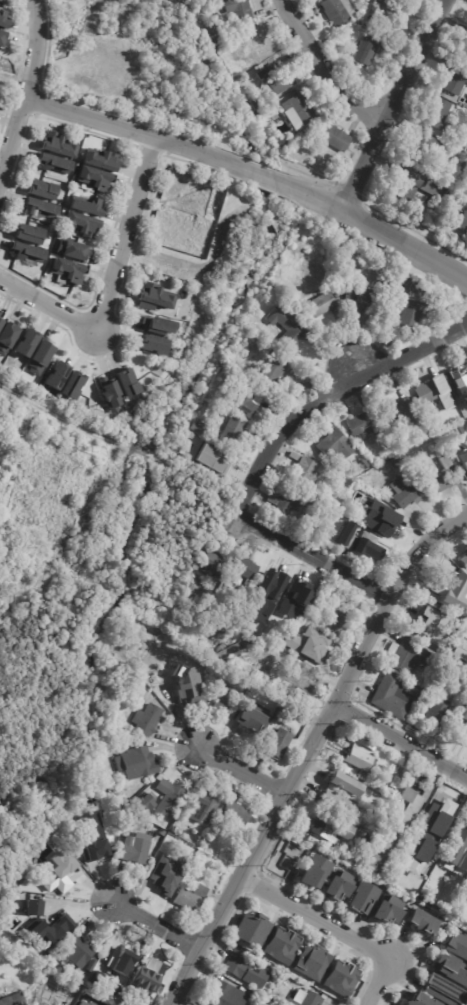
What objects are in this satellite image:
building: (237, 9)
building: (337, 11)
building: (383, 14)
building: (3, 21)
building: (3, 39)
building: (215, 41)
building: (405, 41)
building: (257, 43)
building: (462, 43)
building: (367, 50)
building: (218, 51)
road: (16, 67)
road: (324, 70)
building: (264, 73)
building: (455, 77)
building: (279, 83)
road: (27, 92)
building: (261, 102)
road: (393, 106)
building: (297, 111)
building: (436, 113)
building: (265, 114)
road: (133, 131)
building: (333, 138)
building: (57, 144)
building: (423, 146)
building: (454, 152)
building: (101, 159)
building: (54, 162)
building: (346, 163)
building: (463, 166)
road: (258, 173)
building: (95, 177)
building: (447, 178)
building: (405, 184)
building: (430, 186)
building: (42, 189)
building: (448, 192)
road: (309, 194)
building: (86, 205)
building: (39, 207)
building: (462, 221)
building: (81, 224)
building: (27, 233)
road: (404, 246)
building: (72, 249)
building: (27, 251)
building: (66, 270)
building: (44, 279)
building: (400, 286)
road: (110, 289)
building: (348, 291)
building: (154, 297)
building: (364, 300)
building: (295, 304)
building: (320, 304)
building: (0, 312)
building: (410, 313)
building: (2, 318)
building: (0, 322)
building: (160, 326)
building: (286, 329)
building: (7, 334)
building: (24, 341)
building: (151, 343)
building: (39, 356)
road: (360, 370)
building: (272, 372)
building: (458, 374)
building: (54, 375)
building: (126, 382)
building: (72, 385)
building: (429, 390)
building: (109, 394)
road: (329, 395)
building: (247, 399)
building: (397, 410)
building: (362, 422)
building: (196, 426)
building: (229, 432)
building: (394, 436)
building: (335, 444)
building: (389, 458)
building: (463, 459)
building: (212, 460)
building: (396, 461)
building: (364, 464)
building: (465, 467)
building: (303, 471)
building: (367, 477)
building: (441, 481)
building: (354, 487)
building: (407, 491)
building: (364, 492)
building: (284, 500)
building: (325, 500)
building: (331, 504)
building: (315, 507)
building: (377, 514)
building: (344, 534)
building: (366, 545)
building: (464, 554)
road: (311, 555)
building: (212, 561)
building: (243, 568)
building: (272, 579)
building: (246, 583)
building: (454, 585)
building: (299, 591)
building: (334, 623)
building: (427, 625)
building: (218, 627)
building: (296, 632)
building: (181, 641)
building: (285, 643)
building: (189, 646)
building: (461, 646)
building: (320, 648)
building: (403, 656)
building: (286, 659)
building: (451, 668)
building: (305, 676)
building: (421, 679)
building: (414, 690)
building: (392, 696)
building: (182, 698)
building: (223, 698)
building: (434, 714)
building: (276, 718)
building: (146, 720)
building: (461, 722)
building: (246, 724)
road: (401, 741)
building: (124, 743)
building: (273, 743)
road: (308, 750)
building: (358, 760)
building: (136, 763)
road: (242, 771)
building: (394, 782)
building: (343, 785)
building: (119, 794)
building: (171, 799)
building: (146, 800)
building: (124, 801)
building: (333, 802)
building: (137, 805)
building: (201, 809)
building: (234, 815)
building: (443, 817)
building: (115, 818)
building: (329, 828)
building: (429, 828)
building: (298, 829)
building: (174, 830)
building: (391, 830)
building: (116, 833)
building: (162, 833)
building: (177, 833)
building: (356, 836)
building: (426, 836)
building: (169, 837)
building: (435, 838)
building: (191, 841)
building: (135, 848)
building: (93, 849)
building: (190, 849)
building: (58, 854)
building: (418, 856)
building: (39, 861)
building: (456, 861)
building: (199, 863)
building: (167, 871)
building: (313, 872)
building: (60, 876)
building: (337, 885)
building: (361, 898)
building: (189, 899)
building: (32, 907)
building: (387, 909)
building: (59, 916)
road: (314, 917)
building: (420, 921)
road: (155, 925)
building: (47, 930)
building: (251, 930)
building: (282, 946)
building: (456, 946)
building: (77, 952)
building: (311, 963)
building: (118, 965)
building: (236, 965)
building: (449, 969)
building: (148, 970)
building: (340, 978)
road: (376, 981)
building: (141, 986)
building: (443, 990)
building: (226, 995)
building: (123, 996)
building: (107, 997)
building: (310, 999)
building: (12, 1000)
building: (419, 1000)
building: (52, 1001)
building: (262, 1001)
building: (81, 1003)

